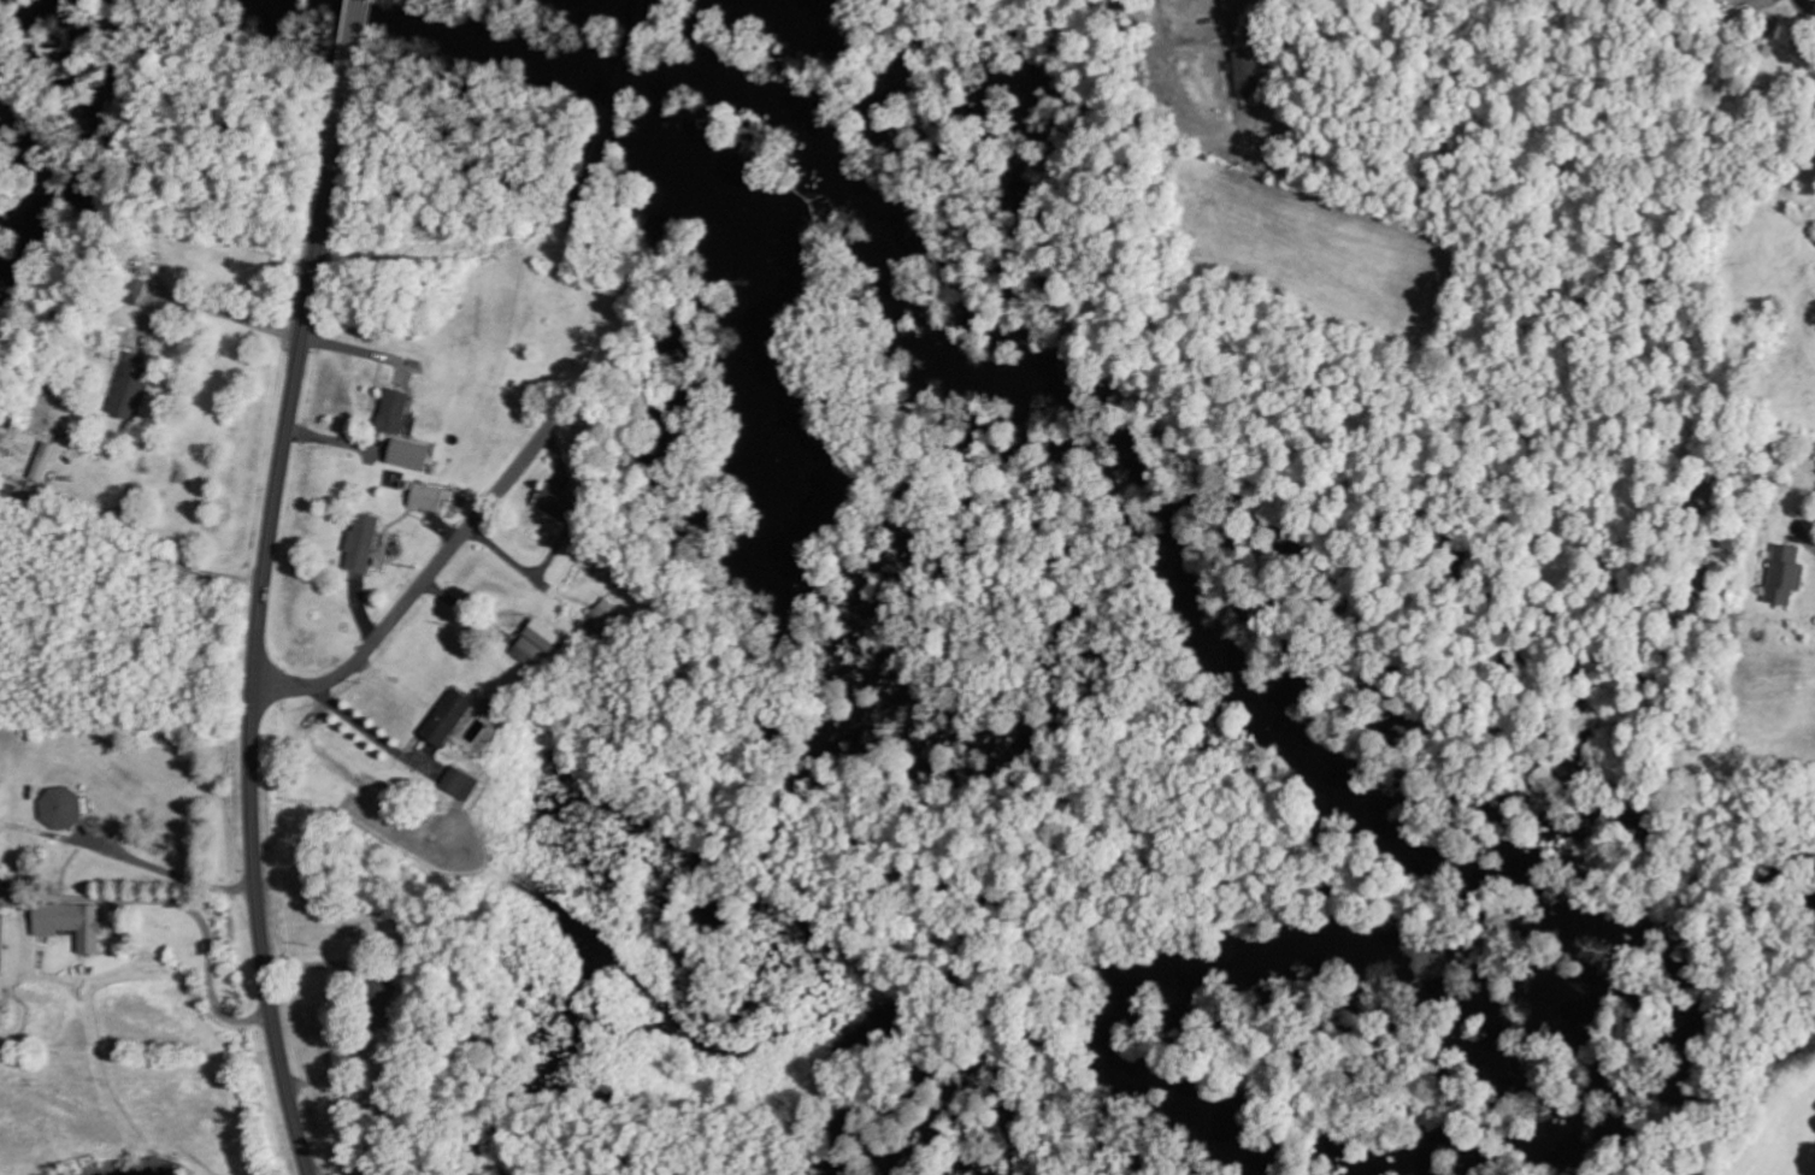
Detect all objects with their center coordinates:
road: (1808, 10)
building: (1716, 12)
building: (1247, 73)
road: (350, 82)
river: (39, 195)
building: (134, 289)
building: (128, 382)
building: (46, 407)
building: (393, 412)
building: (407, 455)
building: (426, 496)
building: (554, 502)
building: (361, 543)
building: (1784, 574)
road: (430, 575)
building: (607, 615)
building: (536, 643)
road: (259, 668)
river: (1234, 672)
building: (447, 719)
building: (460, 784)
building: (60, 805)
building: (64, 917)
building: (2, 943)

